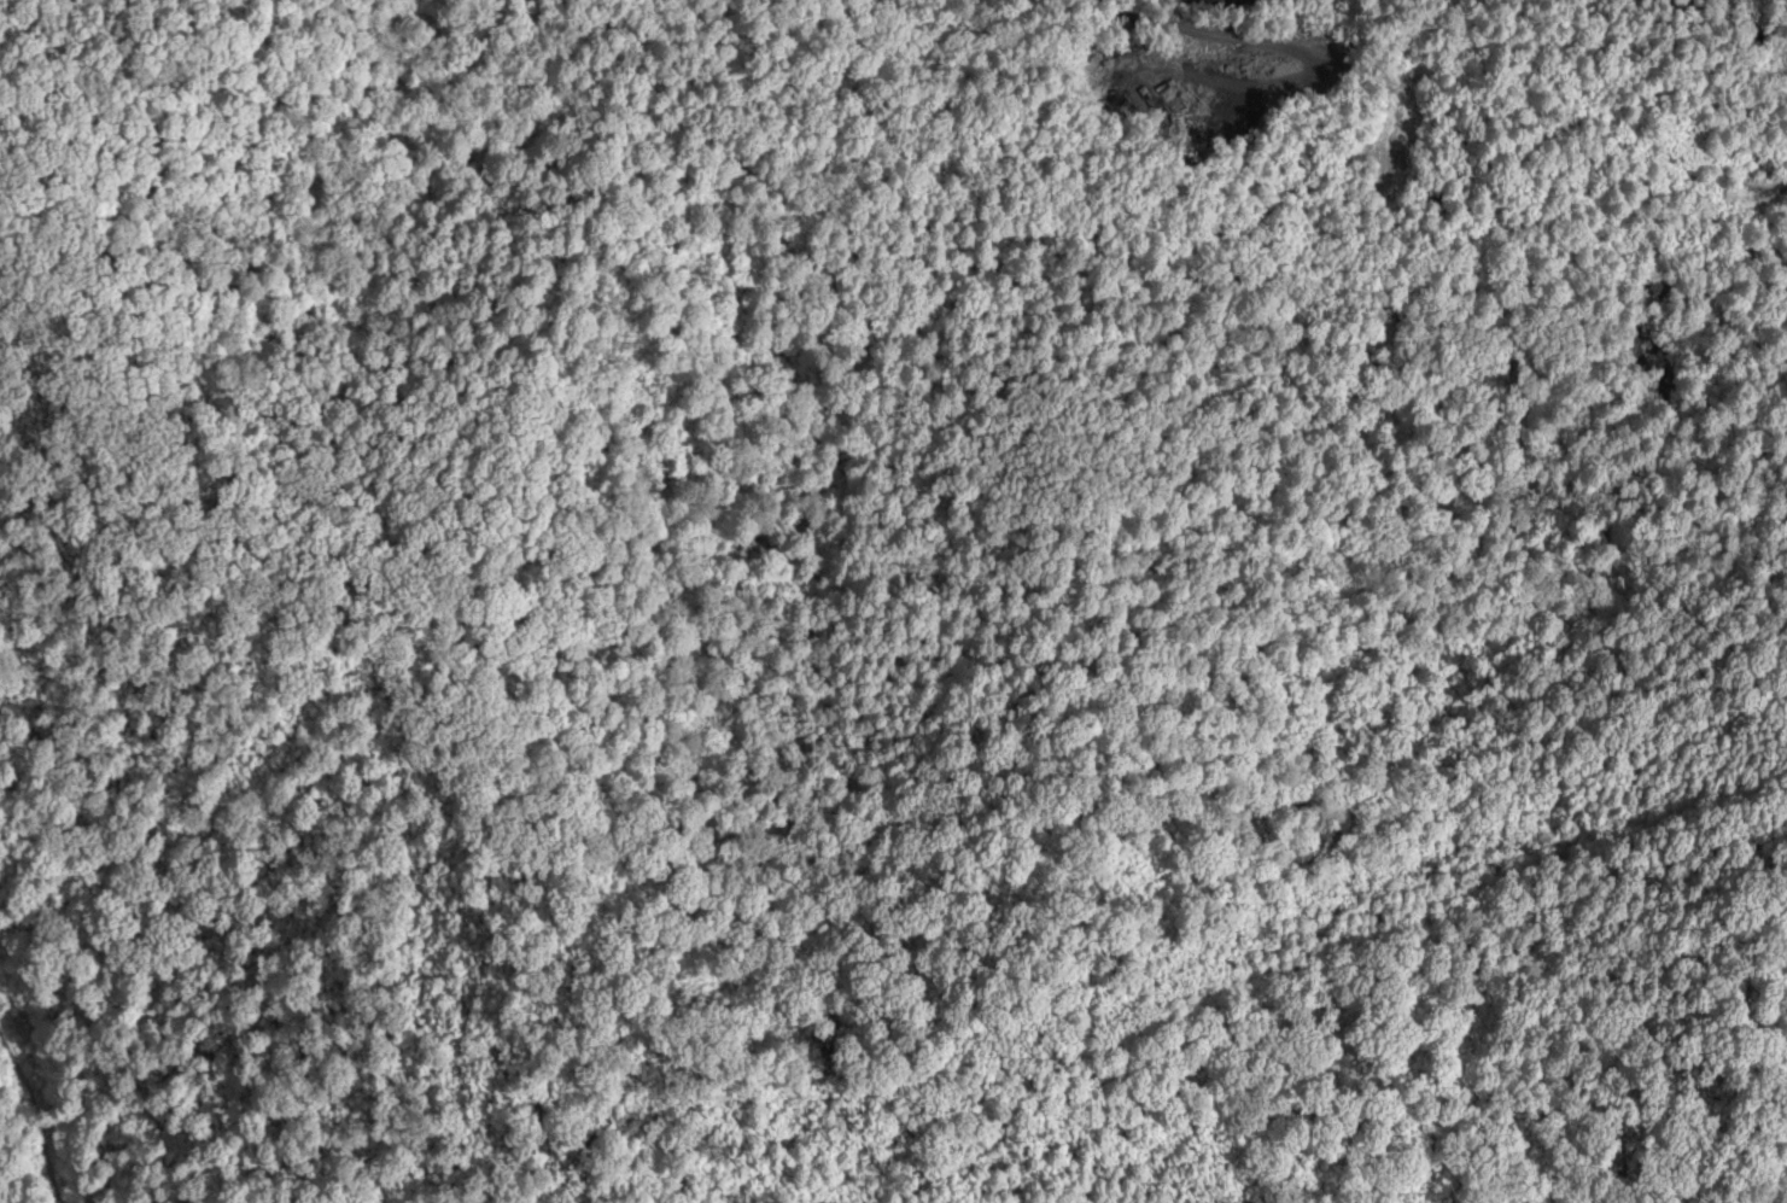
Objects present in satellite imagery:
road: (1436, 274)

